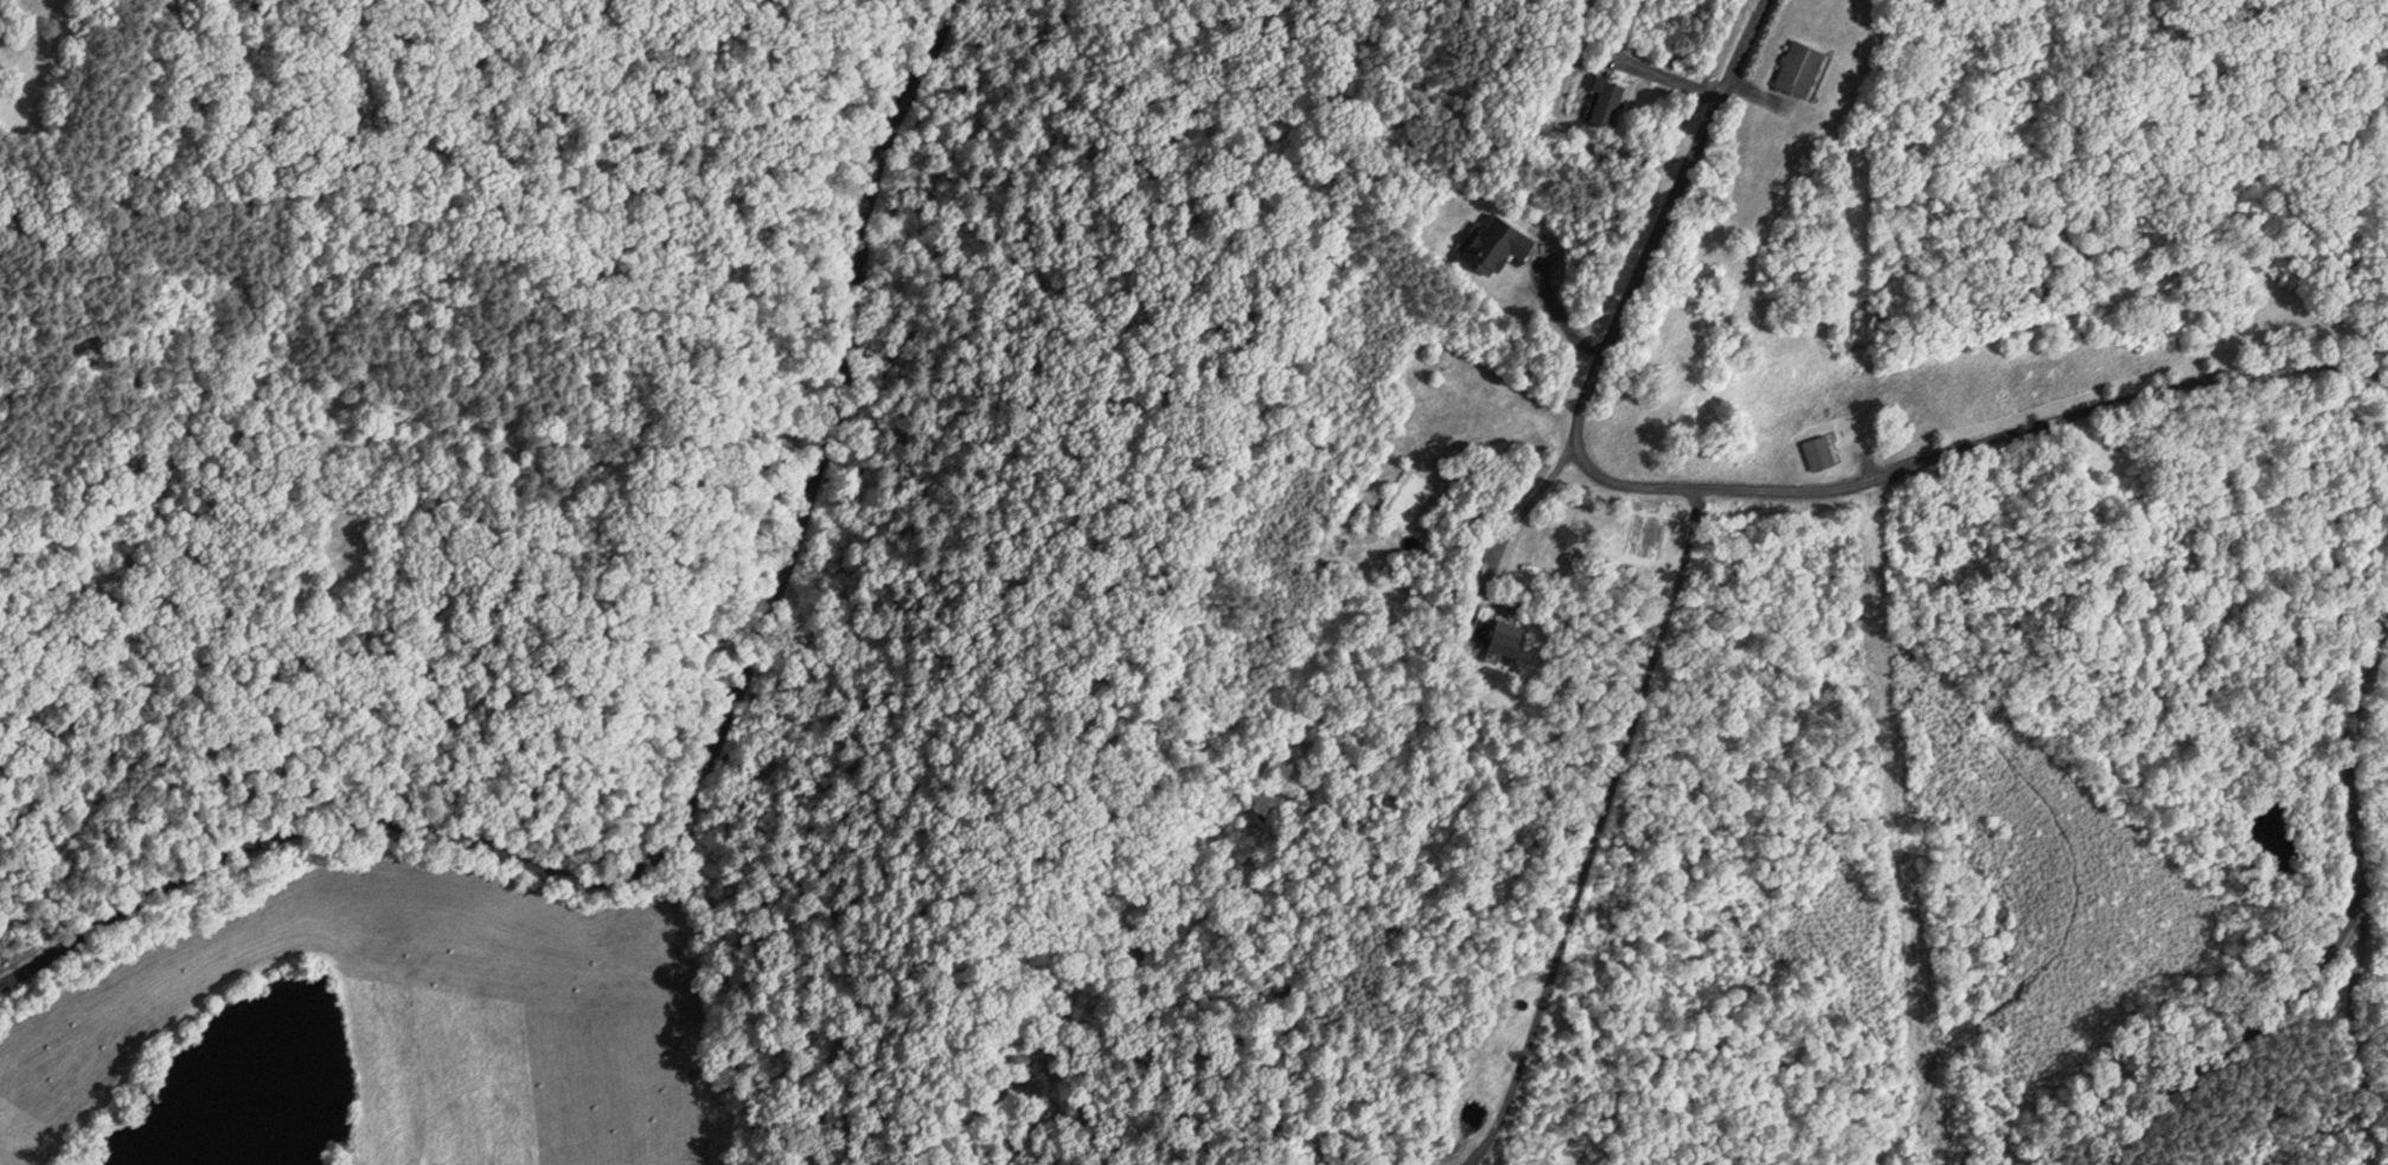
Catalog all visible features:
building: (1798, 68)
building: (1602, 101)
road: (1663, 228)
building: (1491, 243)
road: (1560, 313)
road: (1980, 447)
building: (1816, 450)
road: (1525, 505)
building: (1499, 646)
road: (2351, 769)
road: (708, 774)
road: (1596, 834)
road: (2213, 1044)
road: (2363, 1050)
building: (1419, 1076)

